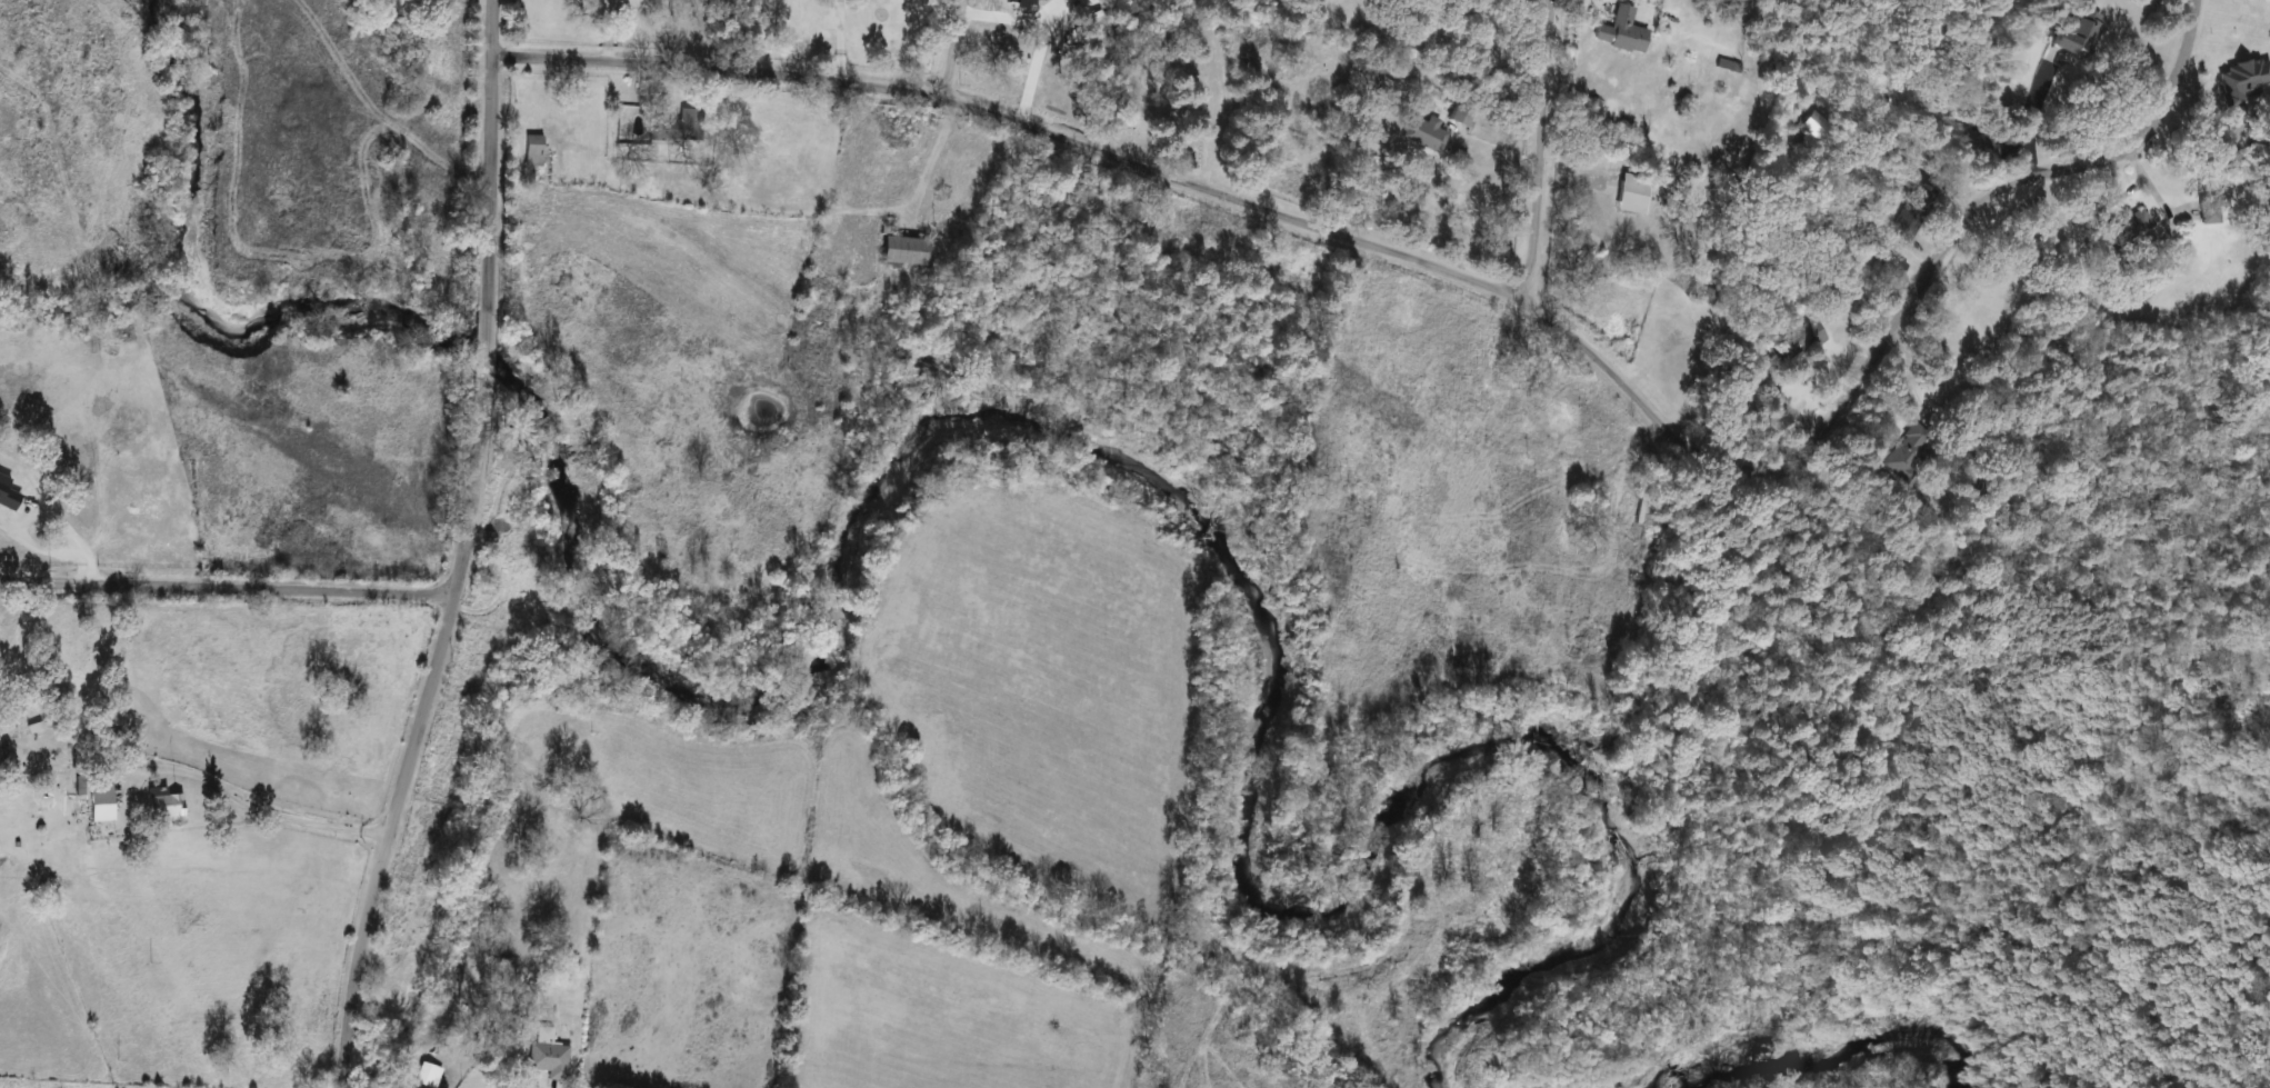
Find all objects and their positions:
building: (1619, 32)
building: (2077, 36)
road: (950, 49)
road: (2029, 112)
building: (1457, 116)
building: (673, 129)
building: (1424, 134)
road: (1541, 149)
building: (532, 151)
road: (488, 156)
building: (1629, 197)
building: (1918, 201)
building: (2206, 217)
building: (2123, 230)
building: (900, 251)
building: (1890, 267)
road: (1486, 285)
building: (1794, 343)
road: (480, 371)
building: (1910, 455)
building: (1642, 512)
road: (228, 588)
road: (409, 758)
building: (2, 760)
building: (97, 801)
building: (161, 805)
road: (268, 807)
building: (547, 1060)
building: (427, 1077)

